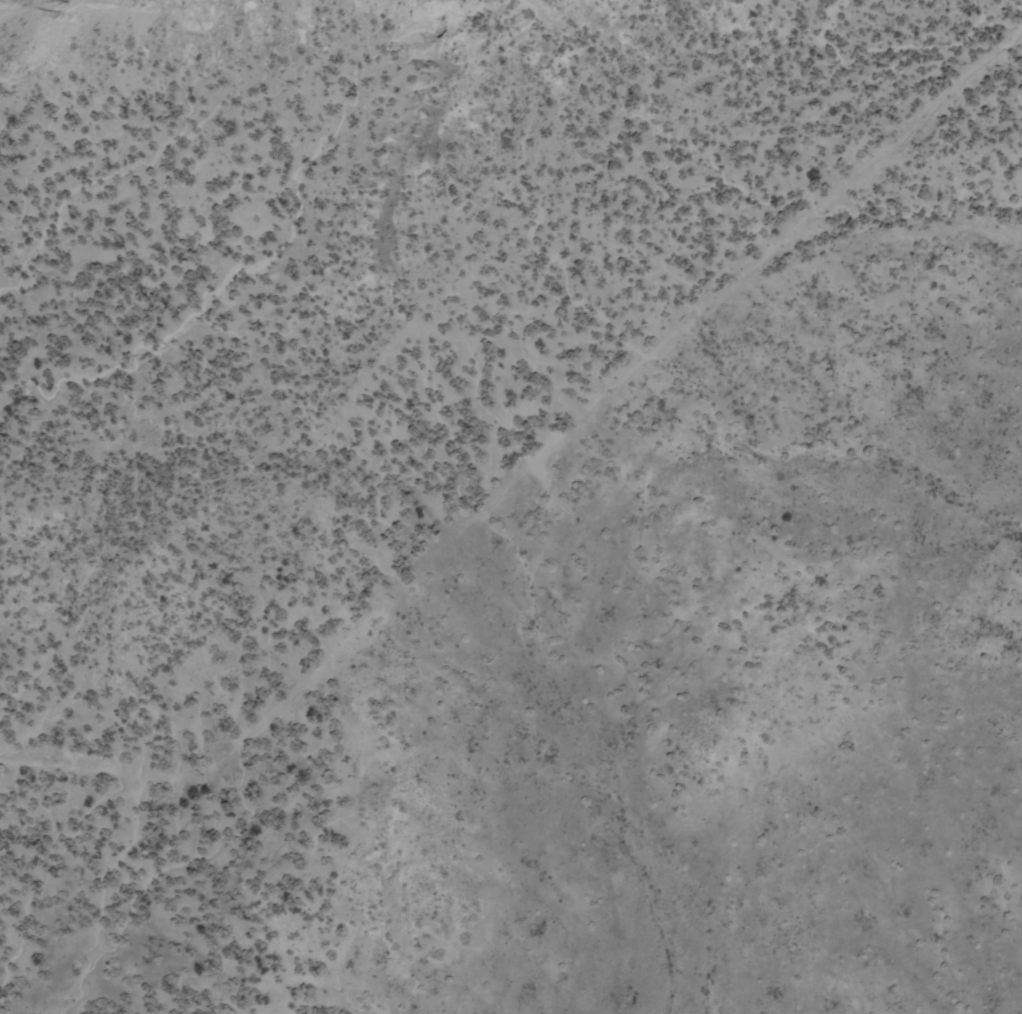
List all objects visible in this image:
road: (548, 486)

